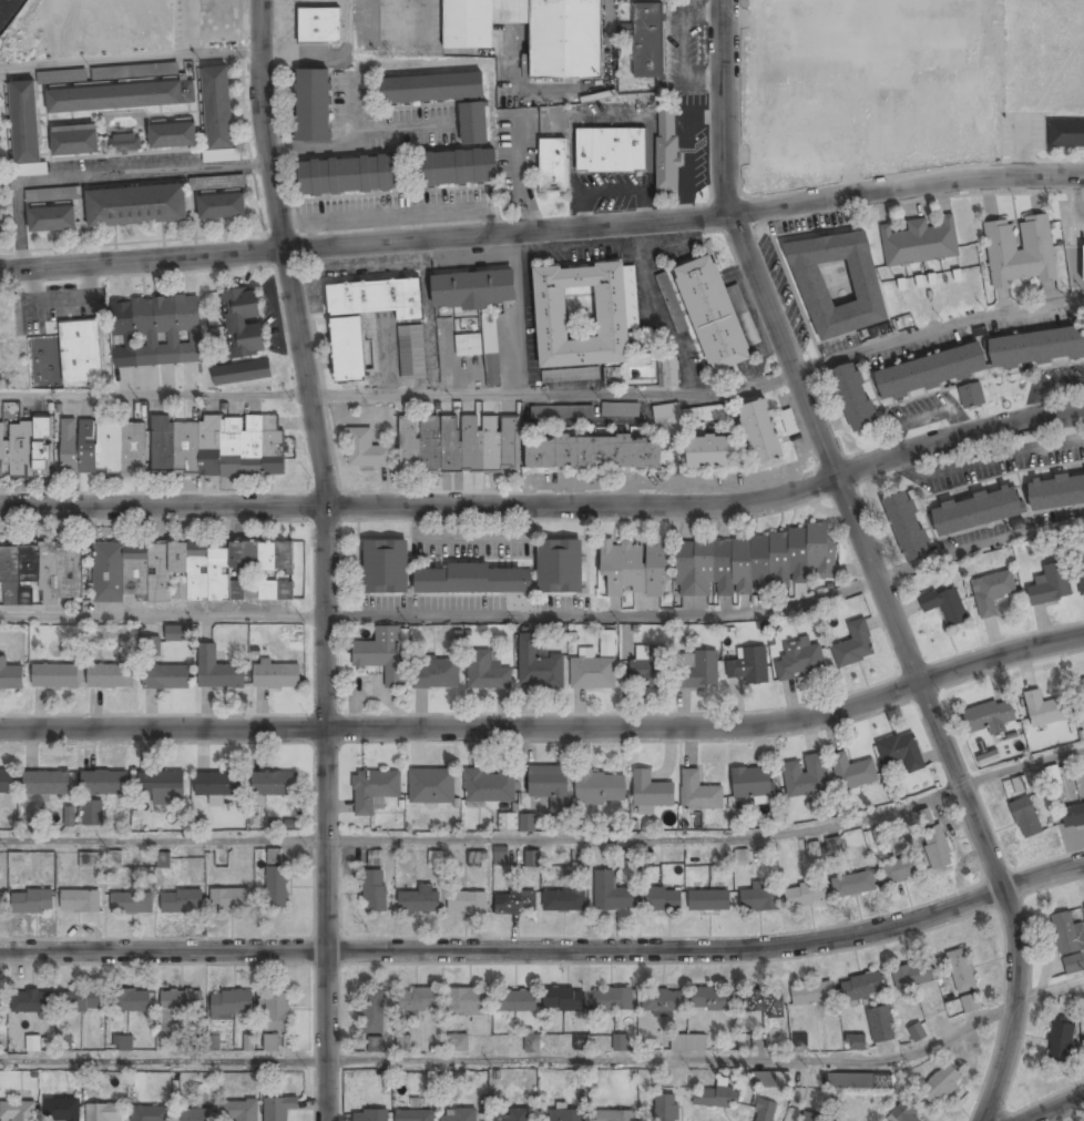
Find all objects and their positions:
building: (318, 26)
building: (532, 32)
building: (870, 39)
building: (646, 40)
road: (127, 60)
building: (134, 70)
building: (432, 88)
building: (121, 98)
building: (0, 100)
building: (314, 105)
building: (218, 108)
building: (25, 122)
building: (473, 123)
building: (1066, 133)
building: (173, 135)
building: (74, 142)
building: (124, 144)
building: (610, 150)
building: (666, 150)
building: (553, 165)
building: (459, 167)
road: (134, 172)
building: (350, 174)
building: (53, 193)
building: (136, 206)
building: (223, 206)
building: (52, 220)
road: (18, 224)
road: (542, 230)
building: (921, 243)
building: (1020, 251)
road: (282, 253)
building: (838, 283)
building: (473, 289)
road: (768, 295)
building: (377, 297)
building: (672, 302)
building: (612, 313)
building: (713, 314)
building: (244, 322)
building: (157, 332)
building: (1036, 348)
building: (348, 349)
building: (483, 349)
building: (80, 351)
building: (412, 353)
building: (6, 356)
building: (242, 371)
building: (931, 373)
building: (571, 374)
building: (612, 374)
building: (971, 394)
building: (853, 398)
road: (549, 399)
building: (620, 408)
building: (561, 411)
building: (709, 412)
building: (667, 417)
building: (760, 432)
building: (459, 444)
building: (103, 447)
building: (217, 447)
building: (25, 449)
building: (367, 450)
building: (593, 454)
building: (710, 454)
building: (1056, 492)
road: (548, 506)
building: (976, 511)
building: (907, 527)
road: (979, 547)
building: (753, 562)
building: (386, 565)
building: (560, 567)
building: (635, 569)
building: (186, 571)
building: (41, 573)
building: (1081, 577)
building: (473, 580)
building: (1051, 585)
building: (992, 592)
building: (694, 602)
building: (945, 604)
road: (440, 615)
building: (176, 634)
building: (607, 642)
building: (151, 645)
building: (855, 645)
building: (382, 654)
building: (800, 660)
building: (538, 665)
building: (749, 665)
building: (217, 670)
building: (699, 671)
building: (487, 672)
building: (648, 672)
building: (438, 673)
building: (593, 673)
building: (10, 676)
building: (55, 676)
building: (111, 676)
building: (166, 676)
building: (276, 676)
building: (1081, 694)
building: (1044, 710)
building: (989, 717)
road: (549, 728)
building: (902, 752)
road: (1022, 768)
building: (852, 773)
building: (1052, 774)
building: (806, 776)
building: (7, 782)
building: (754, 782)
building: (47, 783)
building: (104, 783)
building: (217, 784)
building: (274, 784)
building: (549, 784)
building: (162, 786)
building: (431, 786)
building: (1021, 786)
building: (489, 787)
building: (601, 788)
building: (374, 789)
building: (652, 791)
building: (698, 793)
building: (92, 813)
road: (324, 813)
building: (69, 816)
building: (1073, 816)
building: (924, 818)
building: (1025, 818)
building: (504, 821)
building: (526, 822)
road: (483, 838)
road: (985, 844)
building: (937, 847)
building: (500, 855)
building: (742, 856)
building: (375, 857)
building: (532, 857)
building: (114, 858)
building: (475, 858)
building: (16, 859)
building: (88, 859)
building: (163, 859)
building: (899, 870)
building: (853, 885)
building: (276, 887)
building: (375, 890)
building: (611, 893)
building: (805, 896)
building: (229, 899)
building: (661, 899)
building: (80, 900)
building: (183, 900)
building: (420, 900)
building: (565, 900)
building: (709, 900)
building: (759, 900)
building: (32, 901)
building: (467, 903)
building: (515, 903)
building: (1083, 903)
building: (1, 904)
building: (130, 904)
building: (1070, 942)
road: (548, 950)
building: (961, 970)
building: (912, 975)
building: (861, 987)
building: (811, 993)
building: (612, 999)
building: (712, 999)
building: (419, 1000)
building: (564, 1000)
building: (32, 1001)
building: (83, 1001)
building: (132, 1001)
building: (515, 1001)
building: (663, 1001)
building: (764, 1001)
building: (468, 1002)
building: (969, 1003)
building: (1, 1005)
building: (229, 1005)
building: (180, 1006)
building: (278, 1011)
building: (374, 1011)
building: (880, 1025)
building: (917, 1033)
building: (164, 1040)
building: (1061, 1040)
building: (403, 1041)
building: (620, 1041)
building: (800, 1041)
building: (33, 1042)
building: (64, 1042)
building: (213, 1042)
building: (458, 1042)
building: (532, 1042)
building: (688, 1042)
building: (856, 1042)
building: (123, 1043)
building: (270, 1043)
building: (375, 1043)
road: (550, 1061)
building: (770, 1080)
building: (857, 1082)
building: (941, 1084)
building: (716, 1098)
building: (278, 1108)
building: (665, 1108)
road: (1057, 1109)
building: (63, 1110)
building: (18, 1111)
building: (239, 1111)
building: (765, 1111)
building: (104, 1112)
building: (150, 1113)
building: (904, 1113)
building: (194, 1115)
building: (370, 1115)
building: (415, 1115)
building: (459, 1115)
building: (514, 1115)
building: (566, 1115)
building: (614, 1117)
building: (811, 1117)

